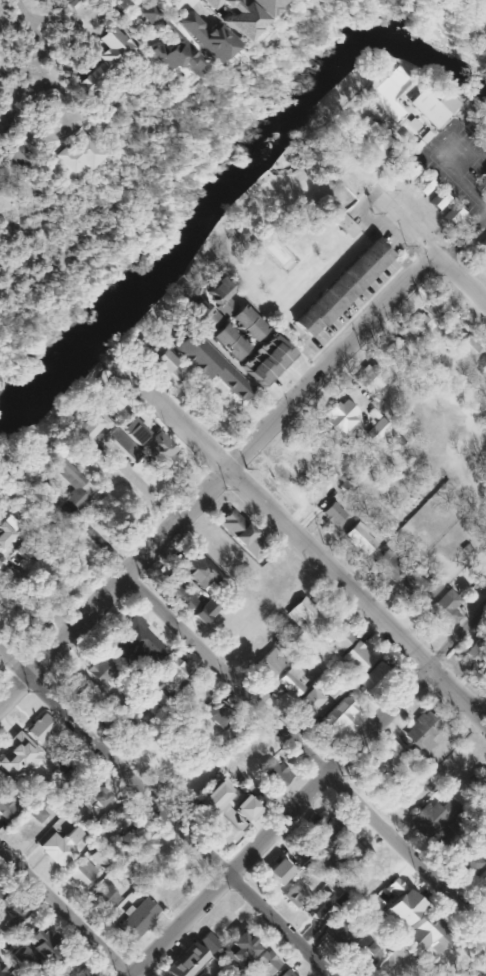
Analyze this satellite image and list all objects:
building: (264, 5)
road: (114, 9)
building: (149, 13)
building: (234, 15)
road: (33, 24)
building: (205, 36)
building: (106, 58)
building: (394, 94)
building: (432, 106)
building: (87, 112)
building: (477, 122)
building: (367, 130)
building: (484, 135)
building: (378, 143)
building: (80, 153)
building: (20, 156)
road: (436, 158)
building: (0, 165)
building: (408, 172)
building: (484, 176)
building: (422, 185)
building: (438, 201)
building: (452, 215)
building: (114, 217)
building: (349, 230)
road: (414, 233)
road: (464, 240)
building: (482, 248)
building: (341, 287)
building: (215, 289)
building: (434, 307)
building: (200, 314)
building: (246, 322)
building: (417, 325)
building: (227, 341)
building: (465, 345)
building: (153, 349)
building: (392, 351)
building: (264, 359)
road: (331, 362)
building: (209, 363)
building: (165, 366)
building: (482, 369)
building: (369, 378)
road: (241, 409)
building: (340, 415)
building: (89, 425)
building: (376, 429)
building: (124, 435)
building: (158, 449)
building: (280, 474)
building: (65, 477)
road: (143, 486)
building: (311, 495)
building: (332, 513)
building: (7, 528)
building: (240, 533)
building: (359, 538)
road: (95, 539)
road: (306, 547)
building: (387, 566)
building: (200, 570)
building: (418, 584)
road: (114, 591)
building: (175, 593)
road: (41, 601)
building: (444, 608)
building: (204, 611)
building: (302, 614)
building: (336, 634)
building: (133, 643)
building: (475, 650)
building: (355, 657)
building: (268, 663)
road: (15, 664)
building: (100, 669)
building: (170, 674)
building: (374, 679)
building: (287, 684)
building: (333, 692)
building: (358, 693)
building: (85, 694)
building: (308, 701)
building: (218, 715)
building: (334, 716)
building: (43, 731)
building: (421, 731)
road: (306, 753)
building: (19, 756)
building: (201, 762)
building: (274, 774)
building: (479, 786)
road: (309, 794)
building: (7, 806)
building: (223, 812)
building: (430, 817)
building: (118, 819)
road: (182, 827)
building: (328, 827)
building: (448, 836)
building: (143, 844)
building: (60, 846)
building: (348, 857)
building: (100, 859)
building: (464, 861)
building: (278, 870)
building: (81, 873)
building: (481, 879)
building: (296, 891)
building: (104, 896)
building: (398, 902)
building: (318, 903)
building: (373, 905)
building: (8, 912)
road: (65, 912)
building: (137, 919)
building: (338, 931)
building: (431, 931)
building: (207, 942)
building: (33, 946)
building: (239, 948)
building: (365, 950)
building: (185, 961)
building: (266, 961)
building: (476, 967)
building: (1, 970)
building: (83, 972)
building: (285, 973)
building: (199, 974)

